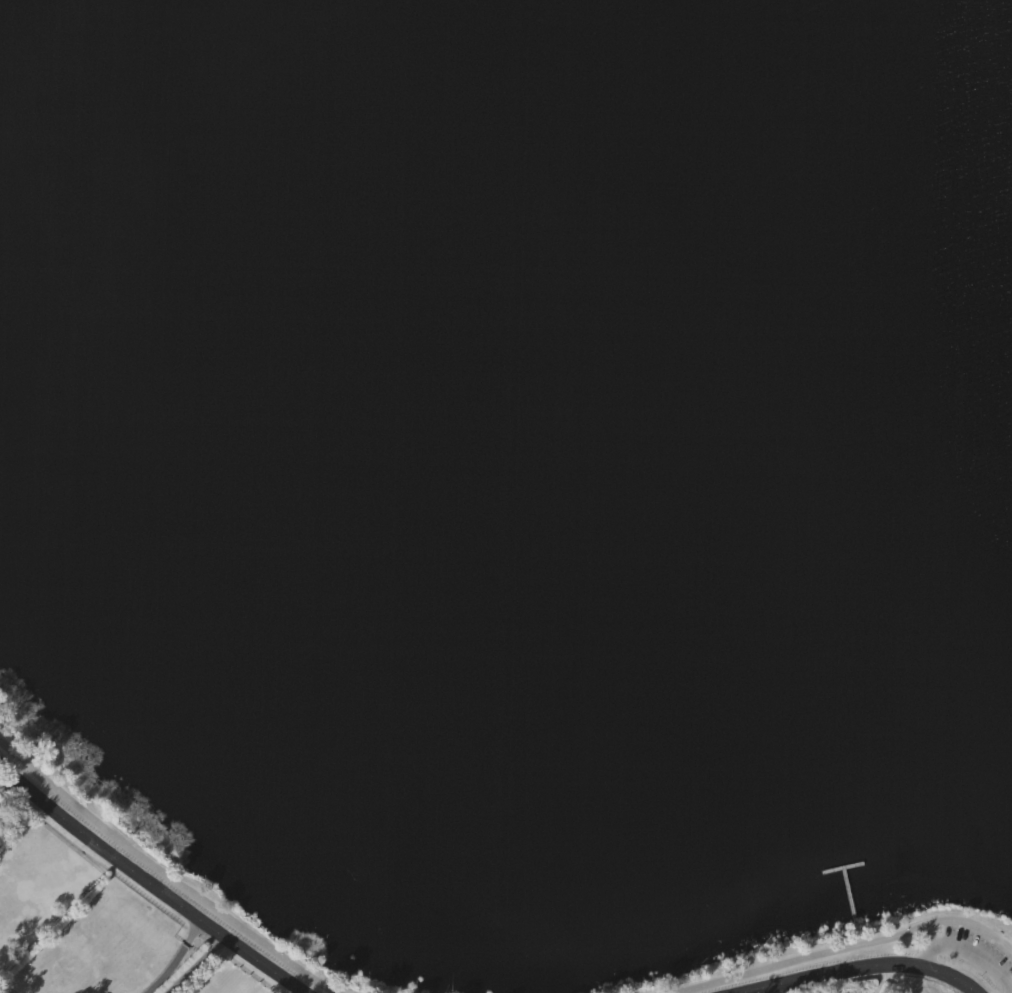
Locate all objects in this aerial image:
park: (518, 477)
road: (4, 794)
pier: (842, 867)
road: (162, 874)
road: (149, 882)
pier: (849, 900)
road: (859, 939)
parking lot: (980, 948)
road: (845, 949)
road: (968, 953)
road: (172, 957)
road: (861, 969)
road: (772, 990)

